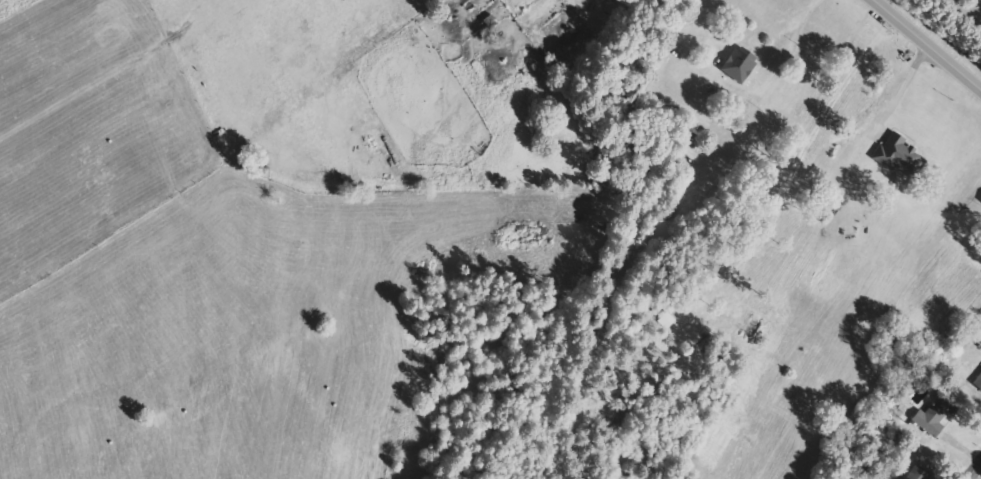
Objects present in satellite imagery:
road: (930, 41)
building: (740, 66)
building: (900, 154)
building: (978, 381)
building: (936, 415)
road: (977, 475)

